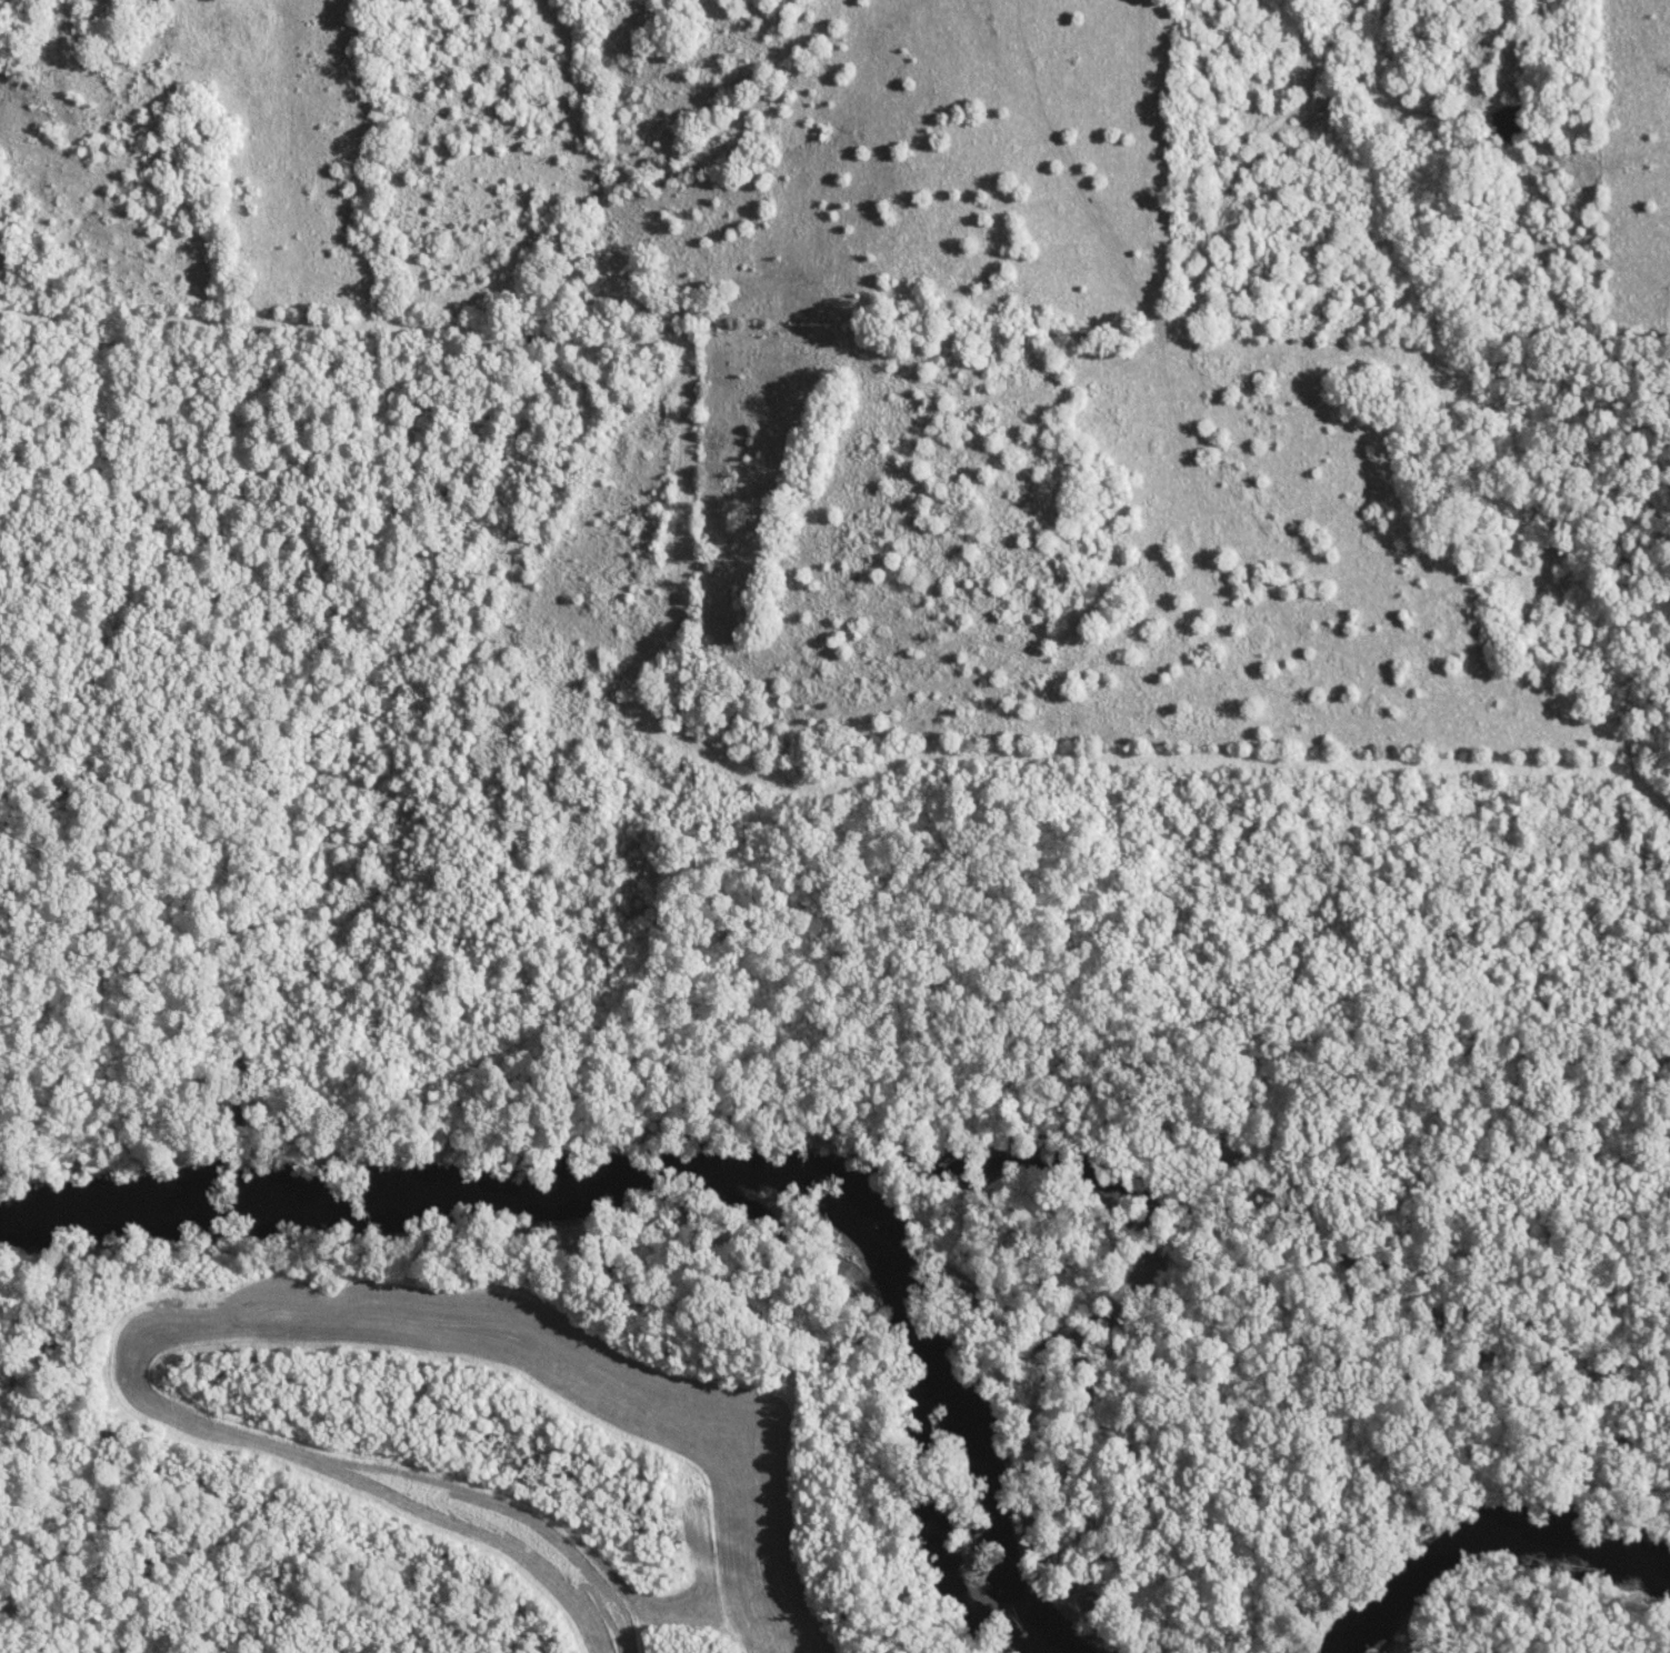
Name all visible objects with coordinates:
river: (679, 1164)
river: (1494, 1550)

